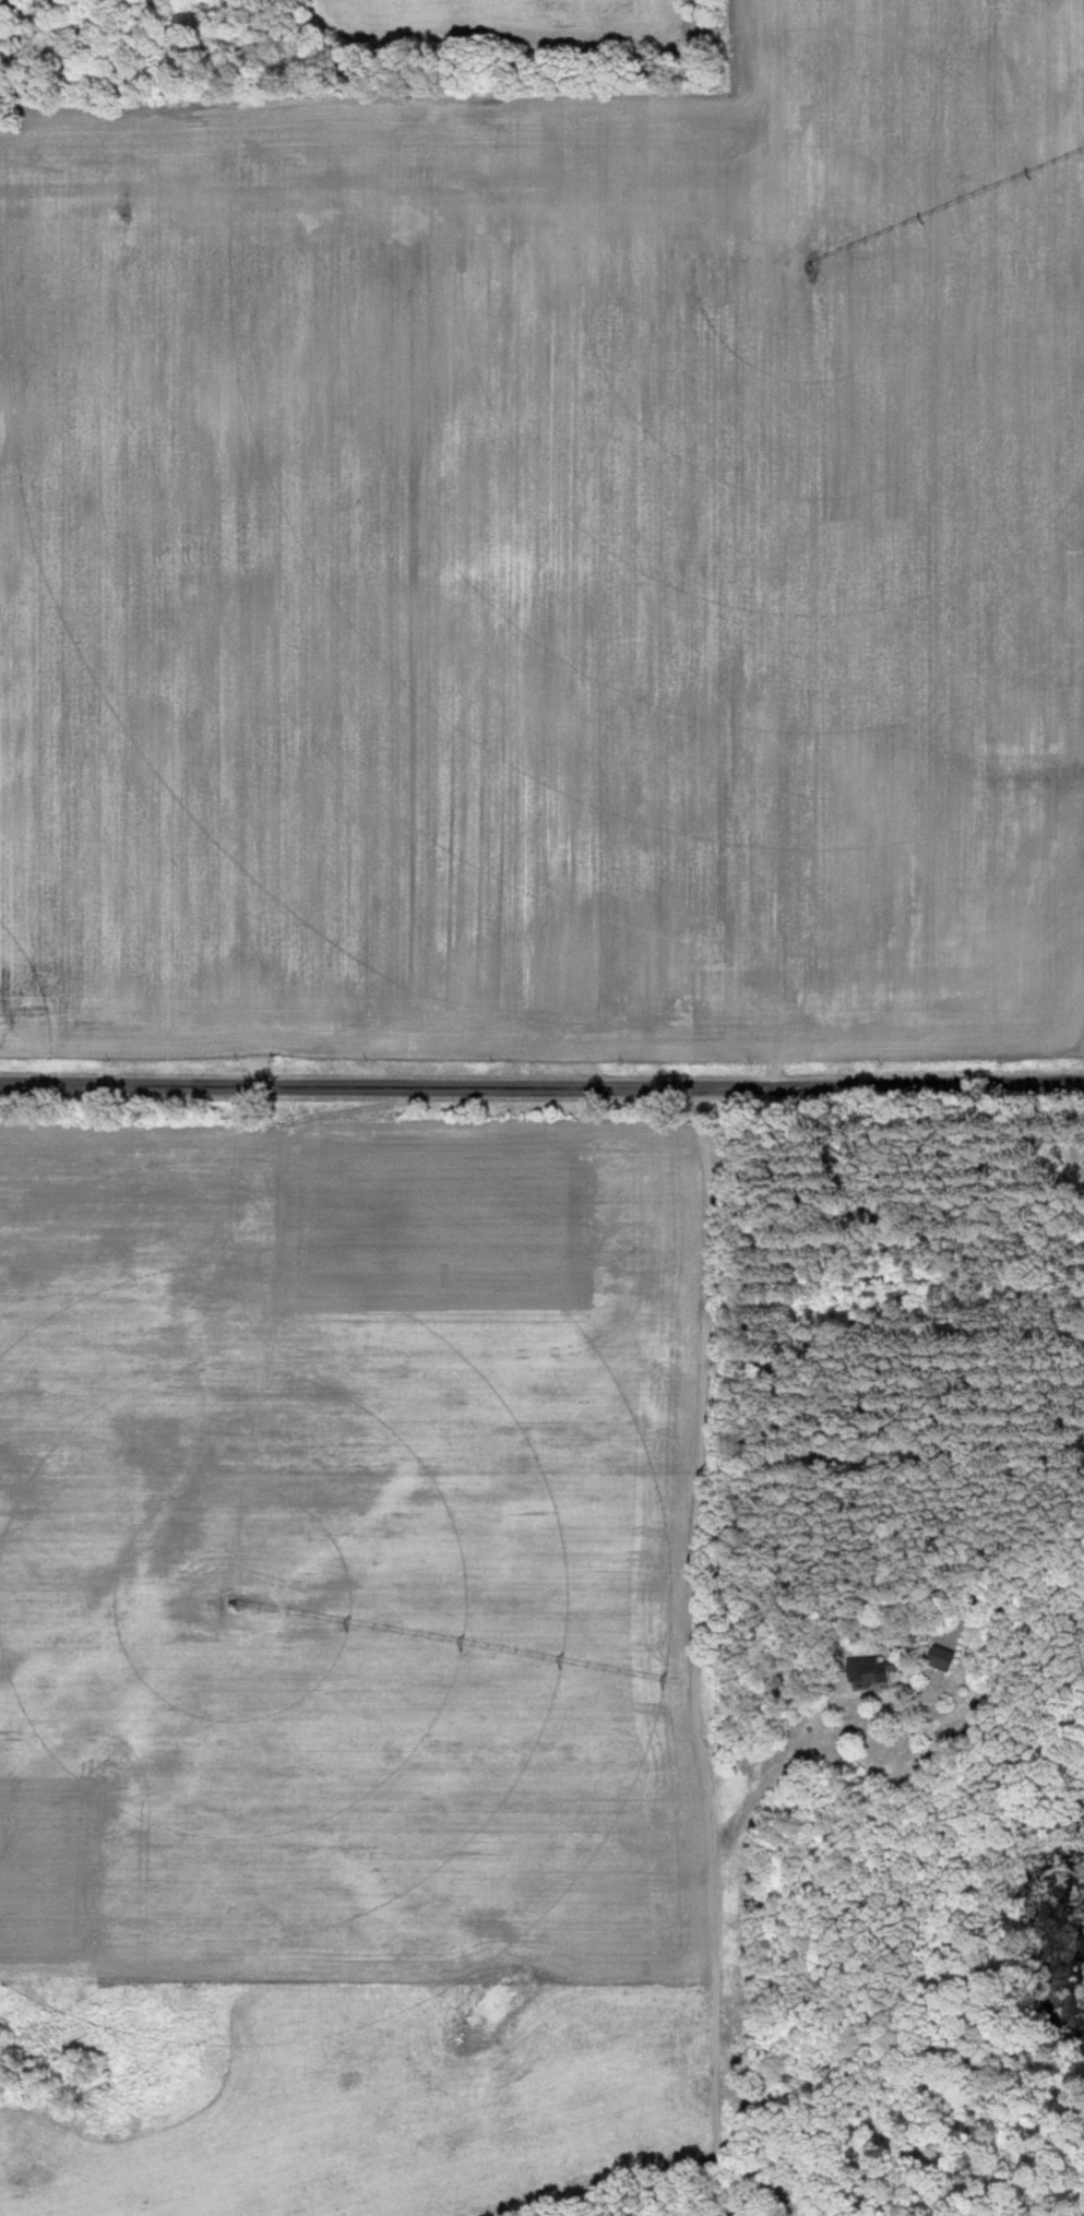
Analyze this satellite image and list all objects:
road: (541, 1092)
road: (1073, 1127)
road: (1014, 1554)
building: (944, 1659)
building: (879, 1670)
road: (652, 2164)

